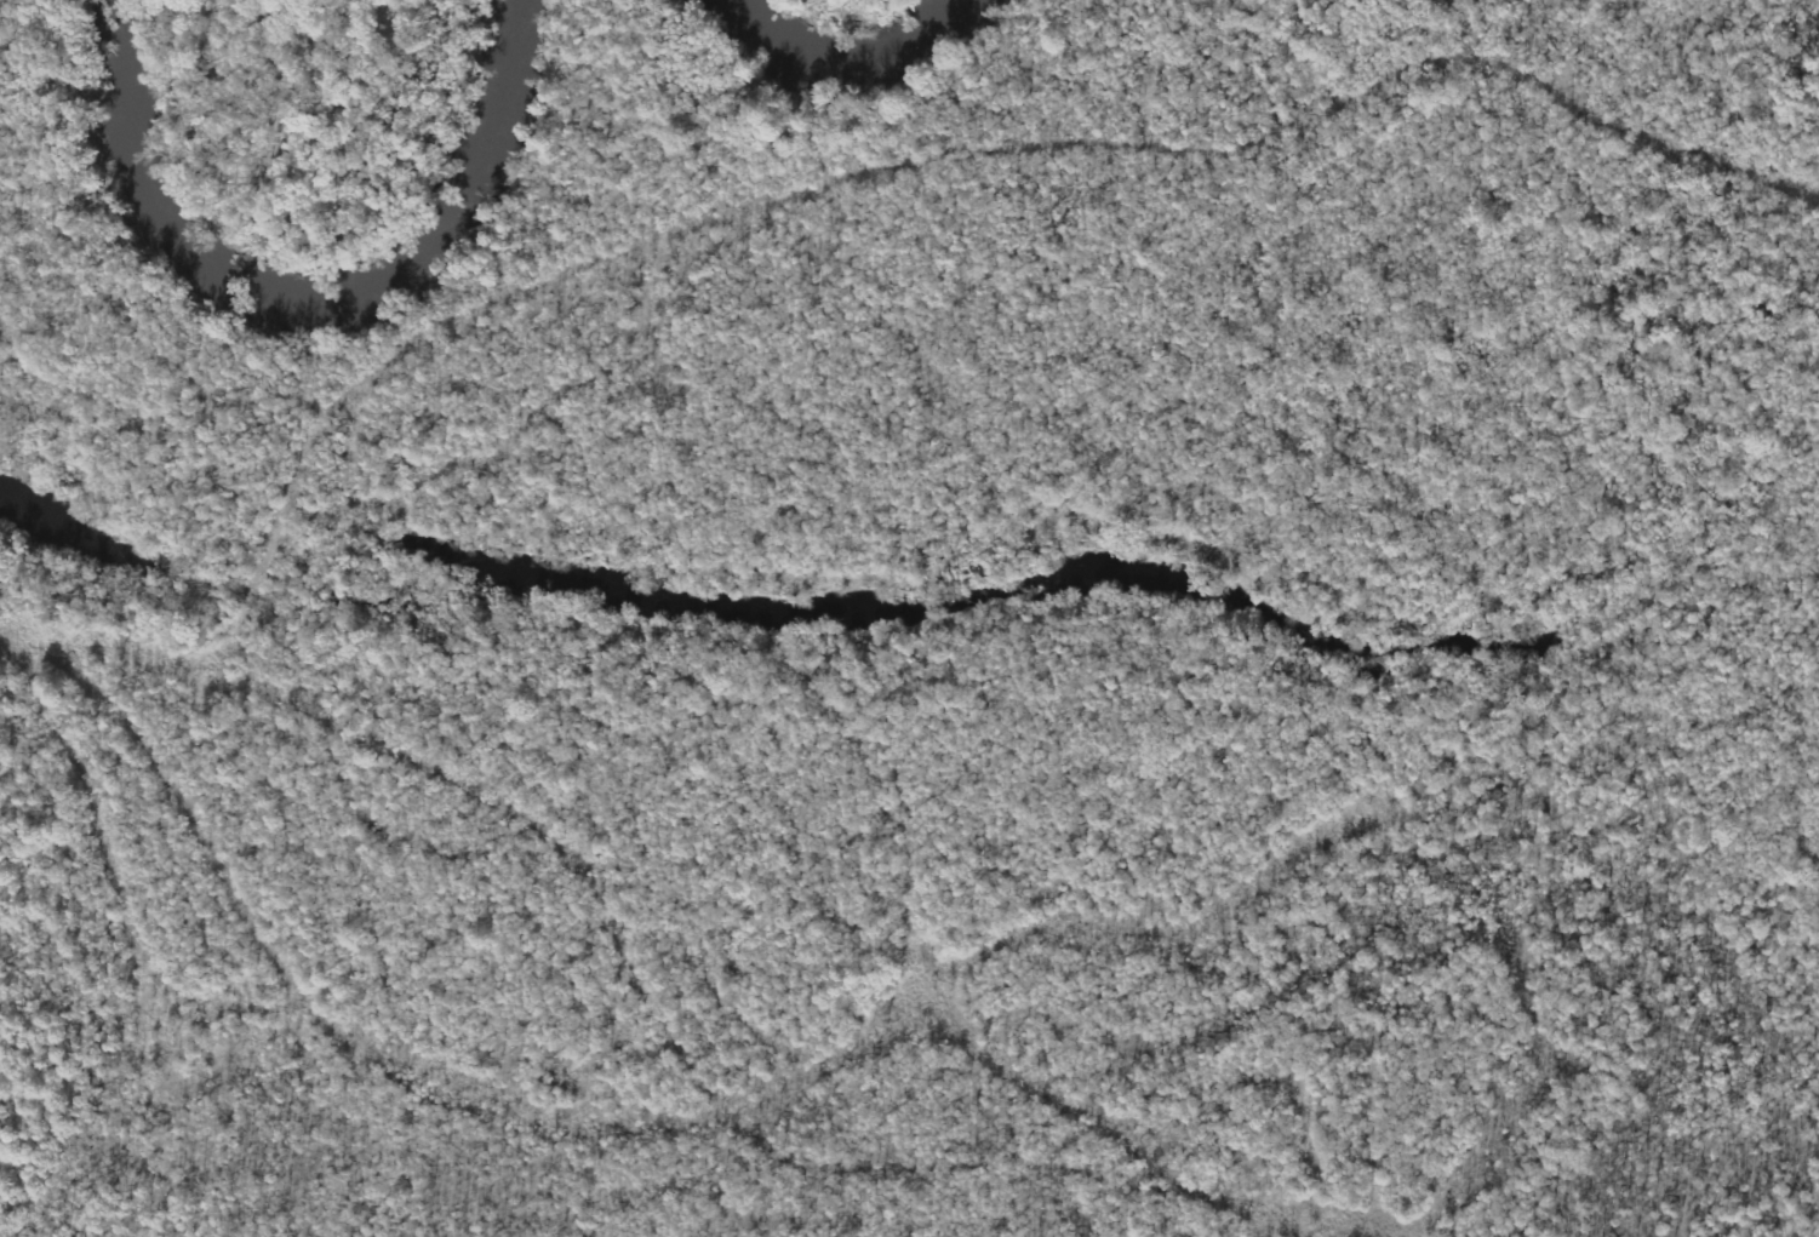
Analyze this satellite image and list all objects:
river: (850, 61)
river: (308, 292)

